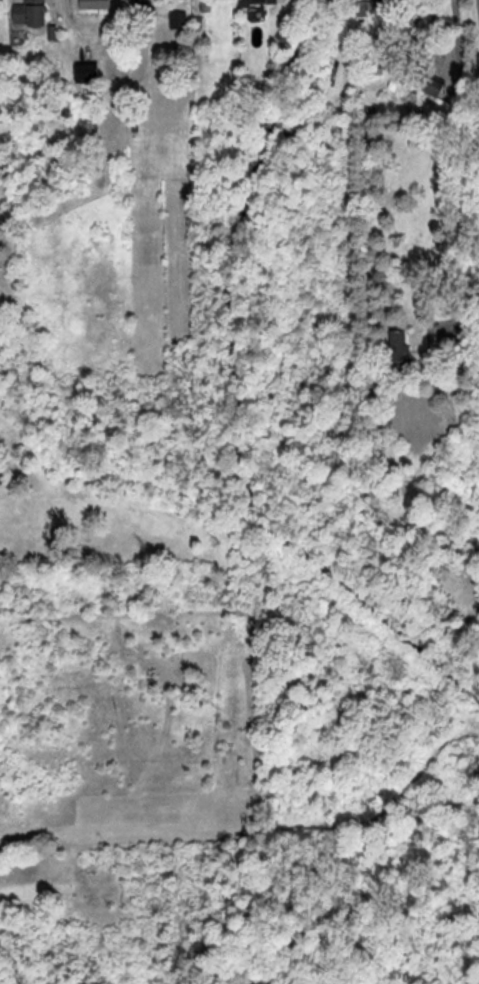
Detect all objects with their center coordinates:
building: (265, 1)
building: (97, 4)
building: (206, 5)
building: (145, 7)
building: (370, 7)
building: (32, 13)
building: (179, 20)
building: (427, 25)
building: (435, 87)
building: (0, 103)
road: (463, 160)
building: (401, 346)
building: (0, 478)

